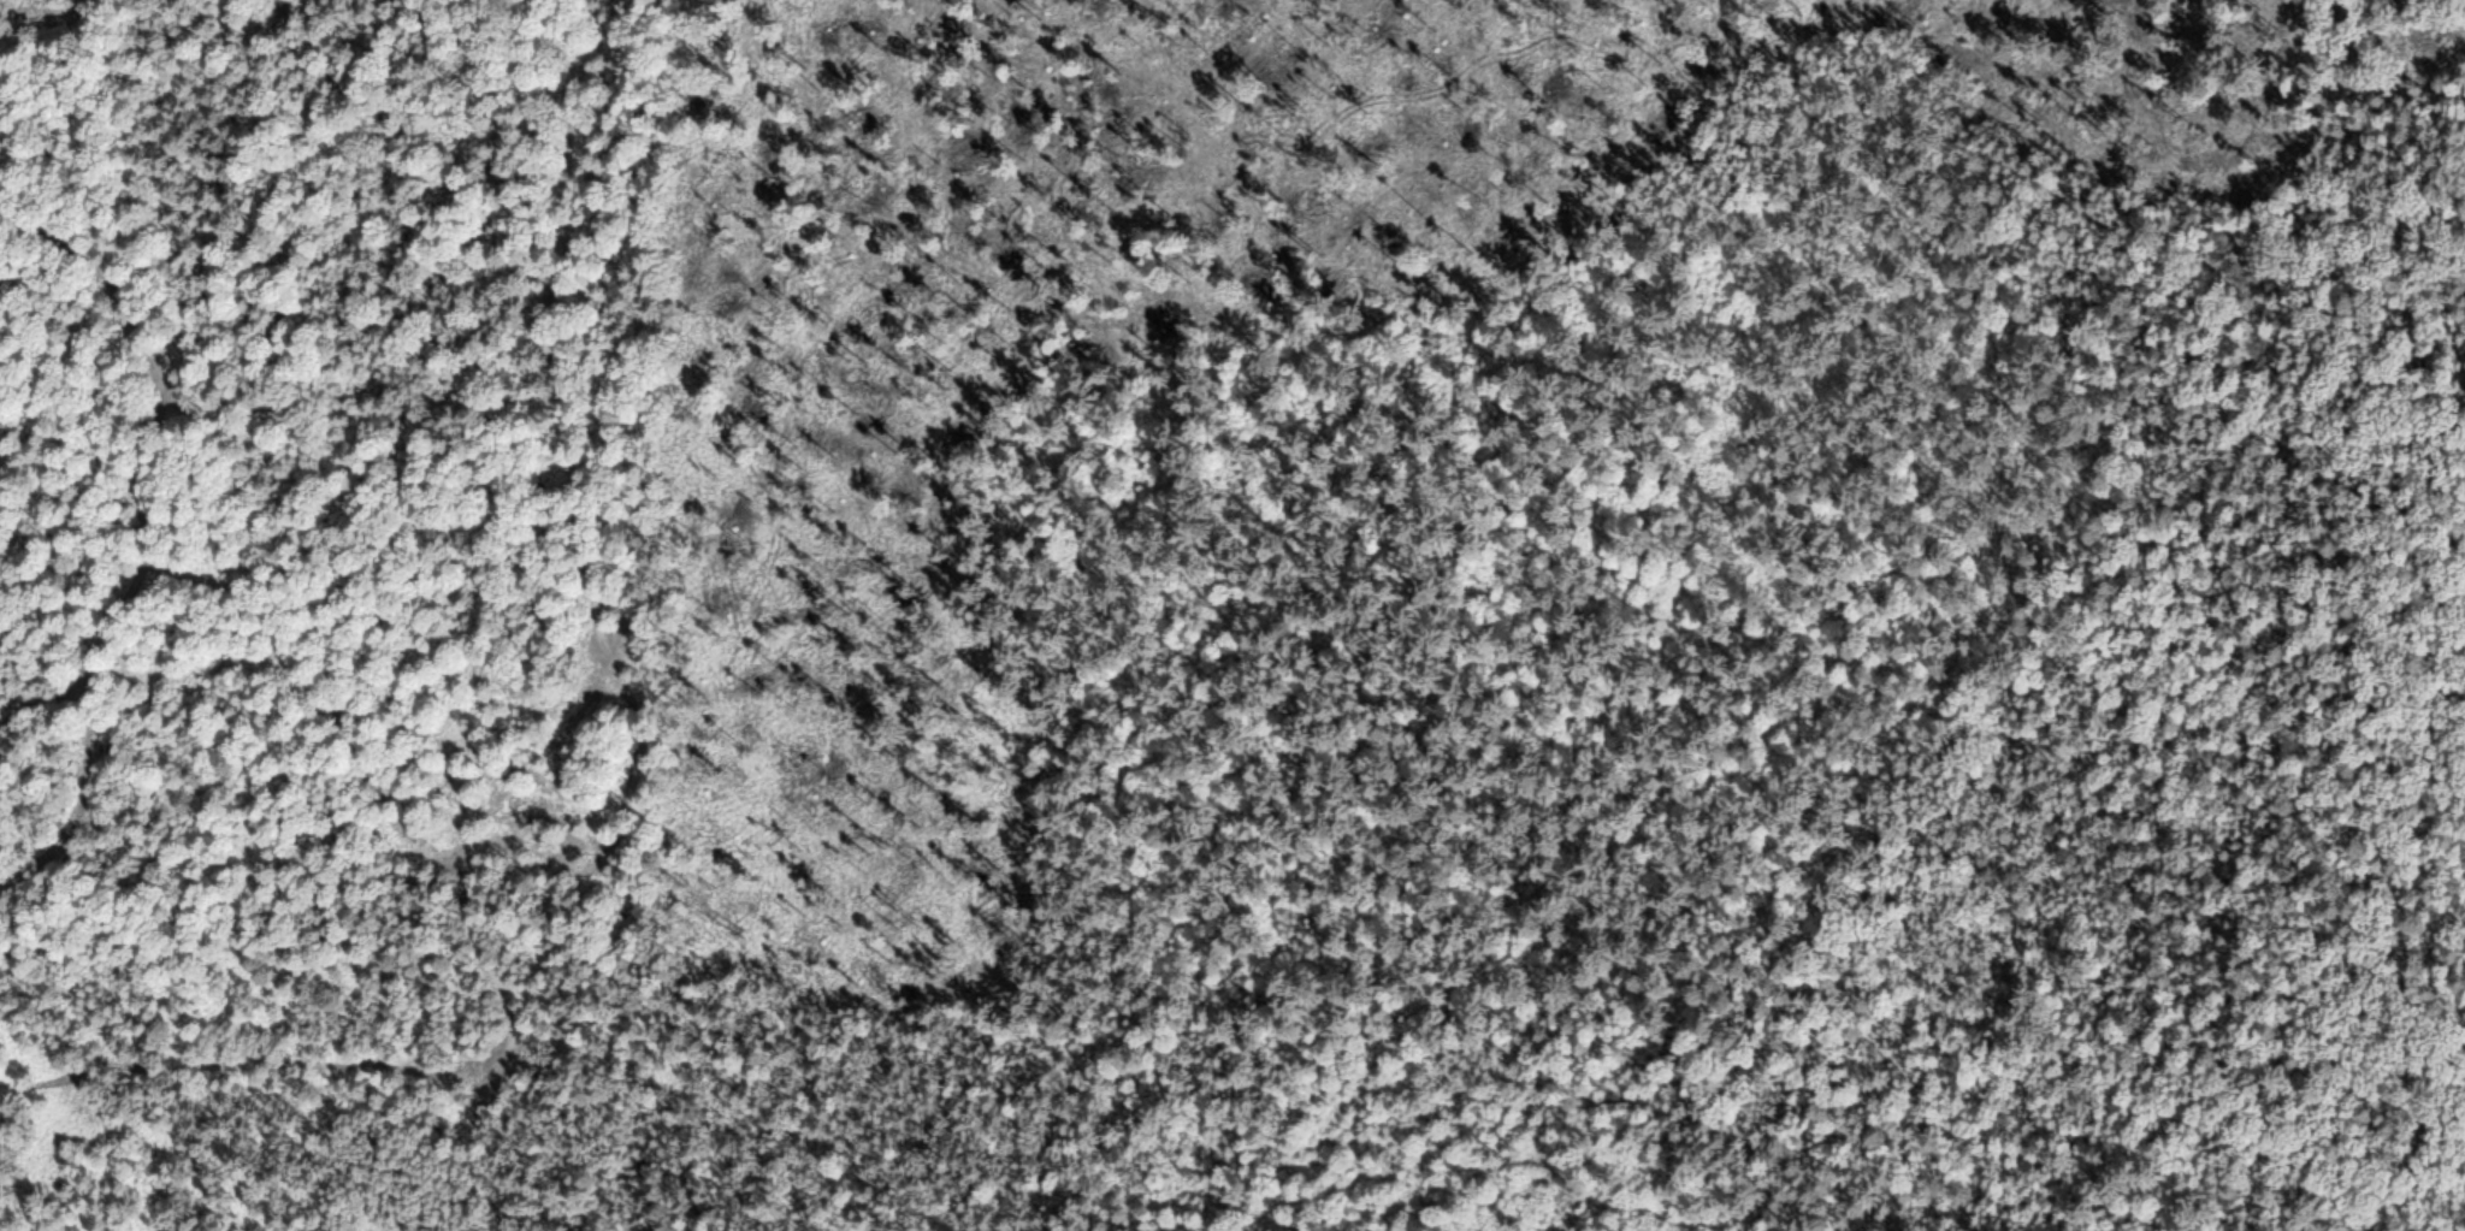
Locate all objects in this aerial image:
road: (138, 537)

